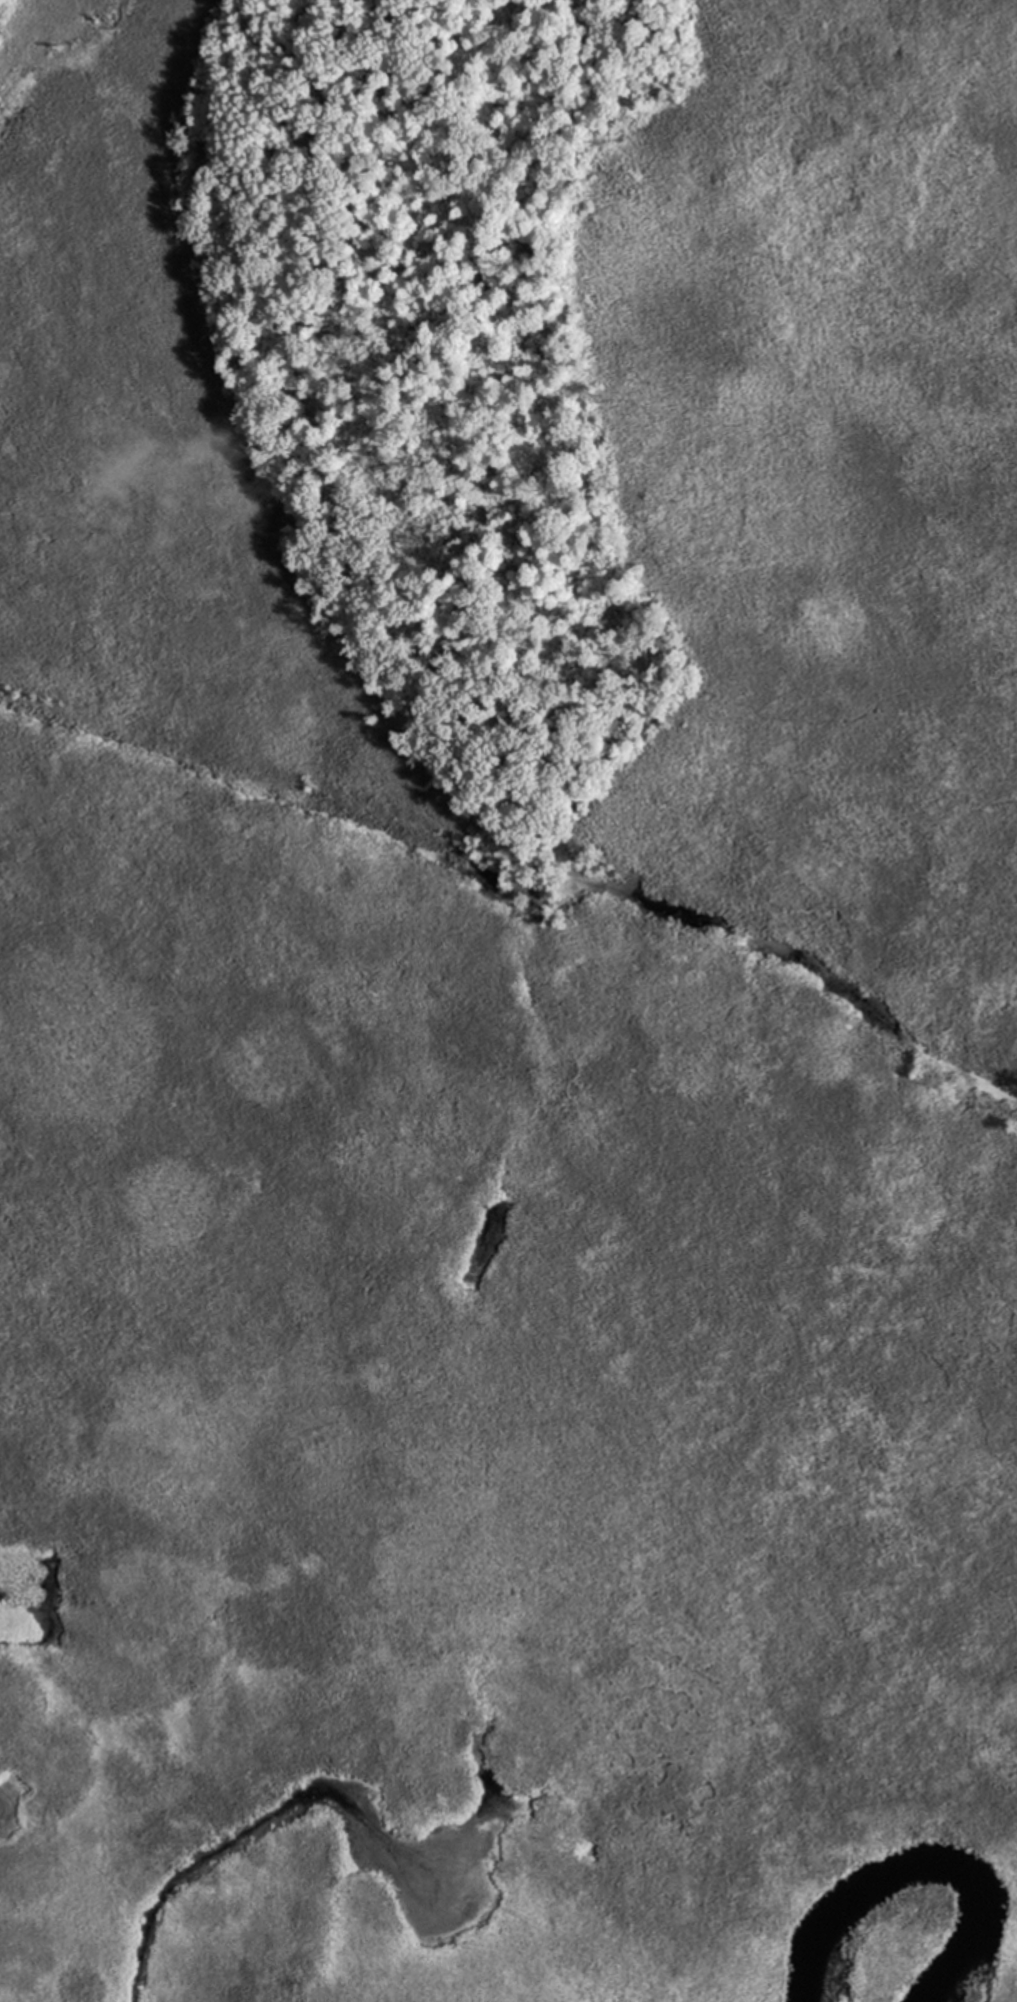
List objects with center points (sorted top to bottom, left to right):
river: (931, 1869)

